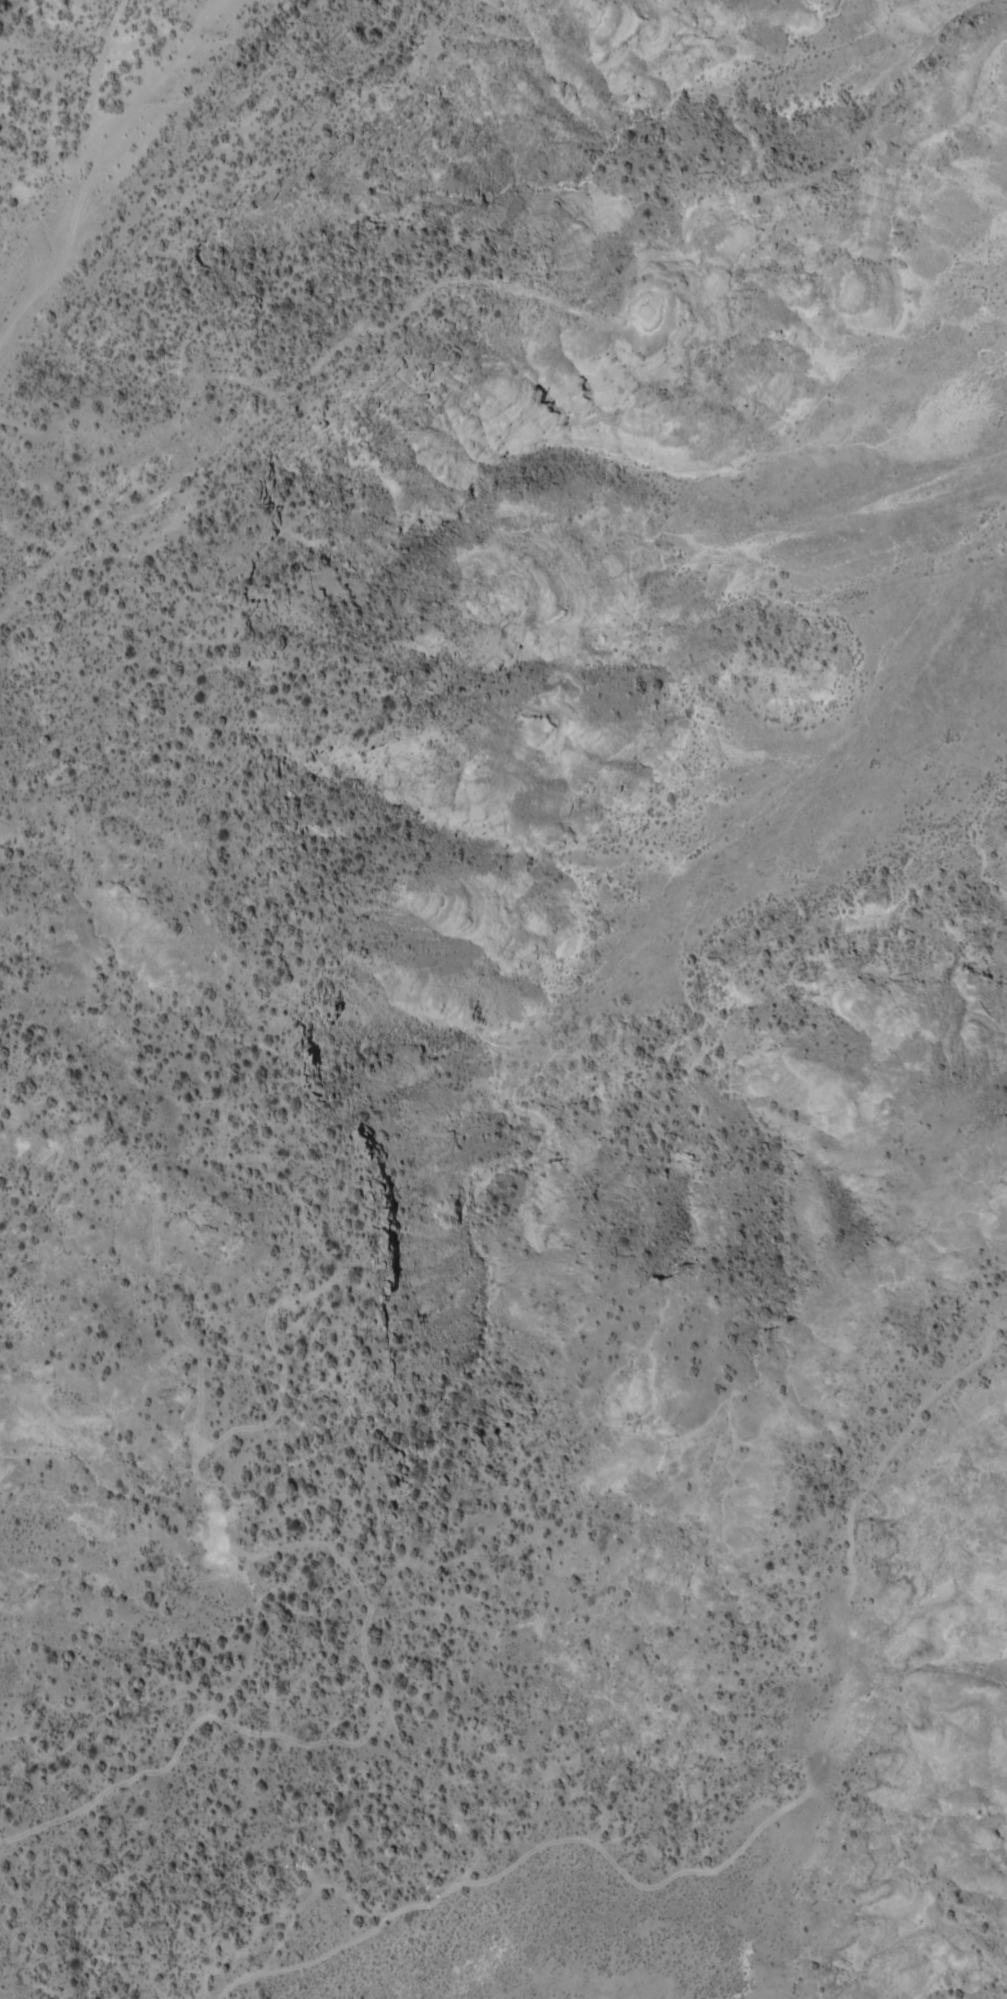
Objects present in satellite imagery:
road: (115, 162)
road: (911, 676)

